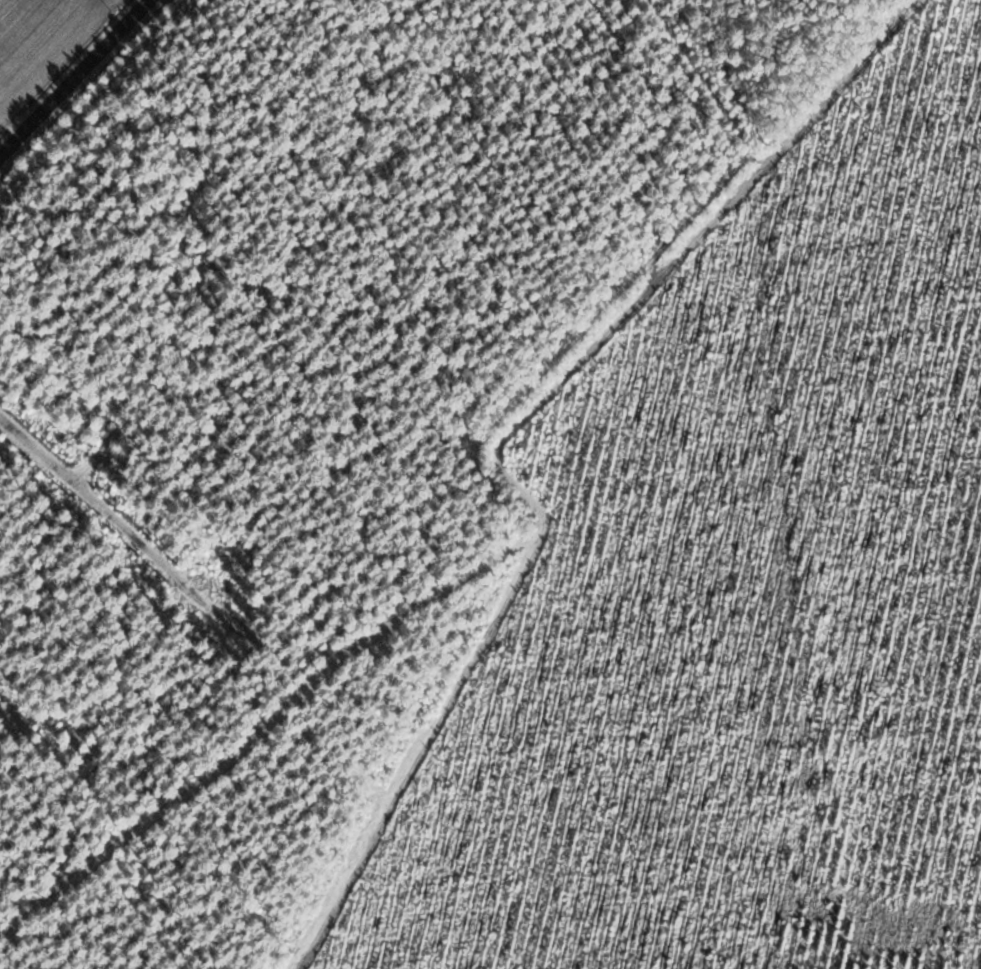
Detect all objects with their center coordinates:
road: (73, 78)

